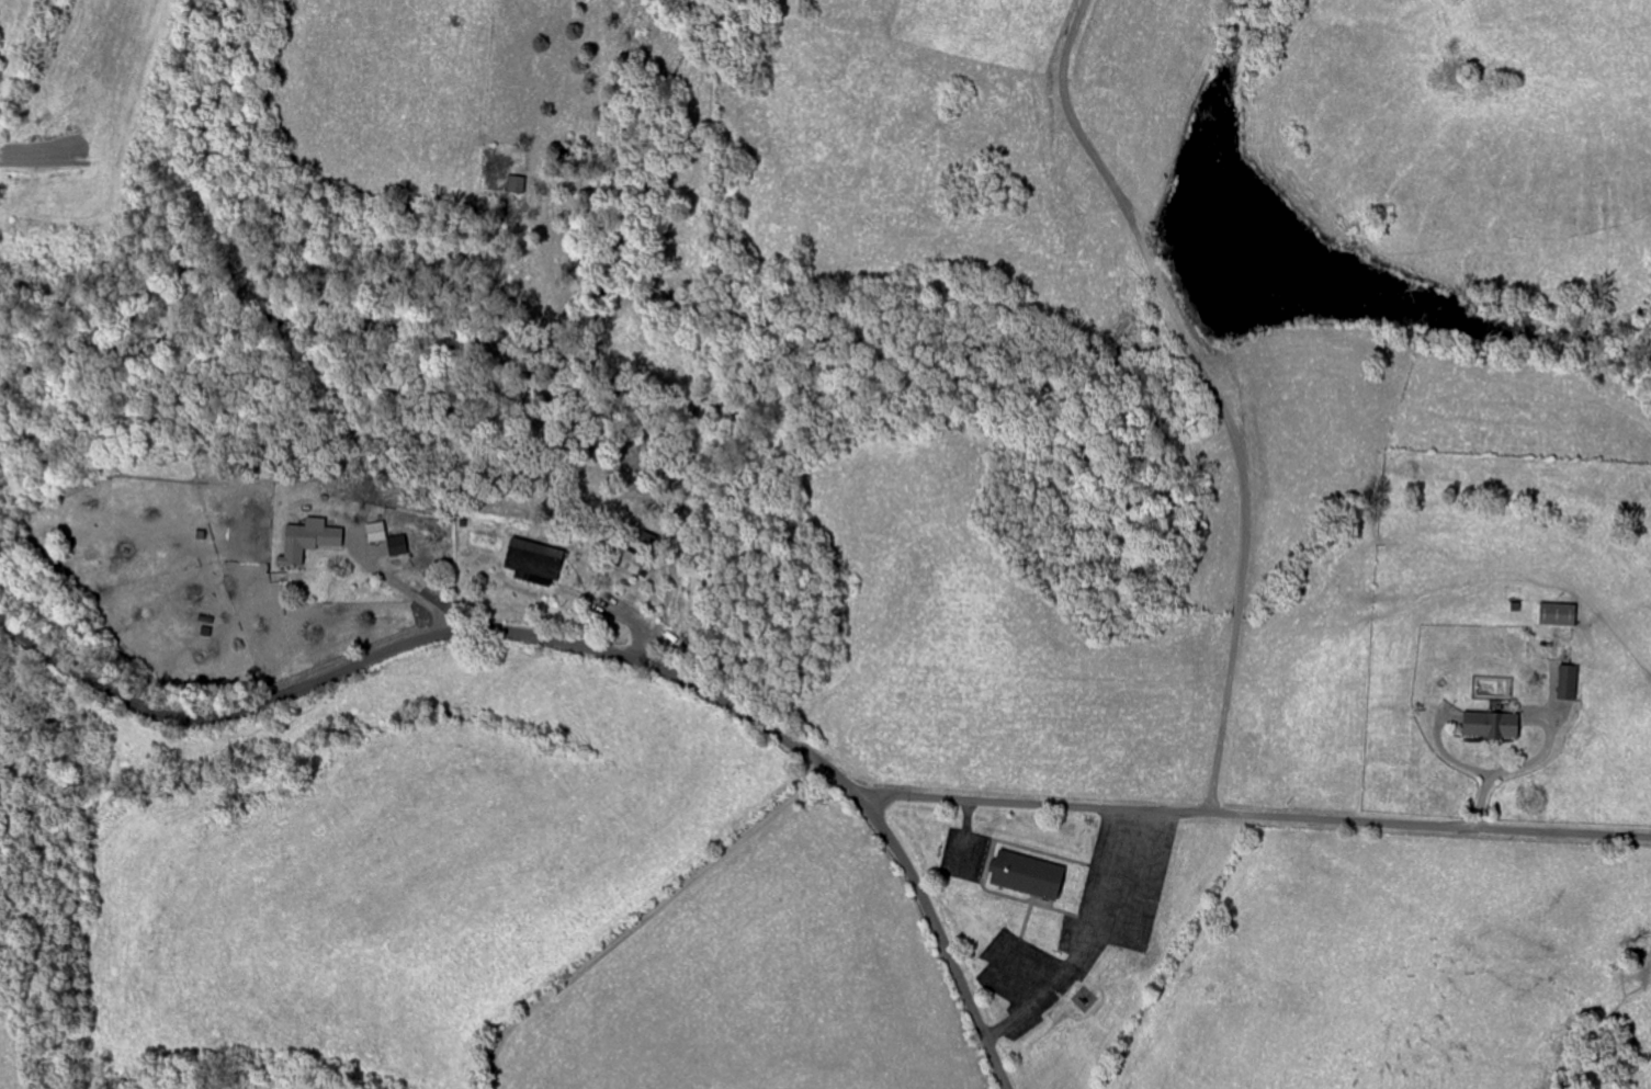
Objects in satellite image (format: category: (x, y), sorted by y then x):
building: (519, 185)
road: (1208, 389)
building: (380, 532)
building: (312, 541)
building: (400, 546)
building: (633, 561)
building: (538, 563)
road: (409, 592)
building: (1561, 615)
road: (591, 649)
building: (1570, 683)
building: (1494, 726)
road: (1506, 770)
road: (1253, 816)
building: (1032, 876)
road: (645, 921)

